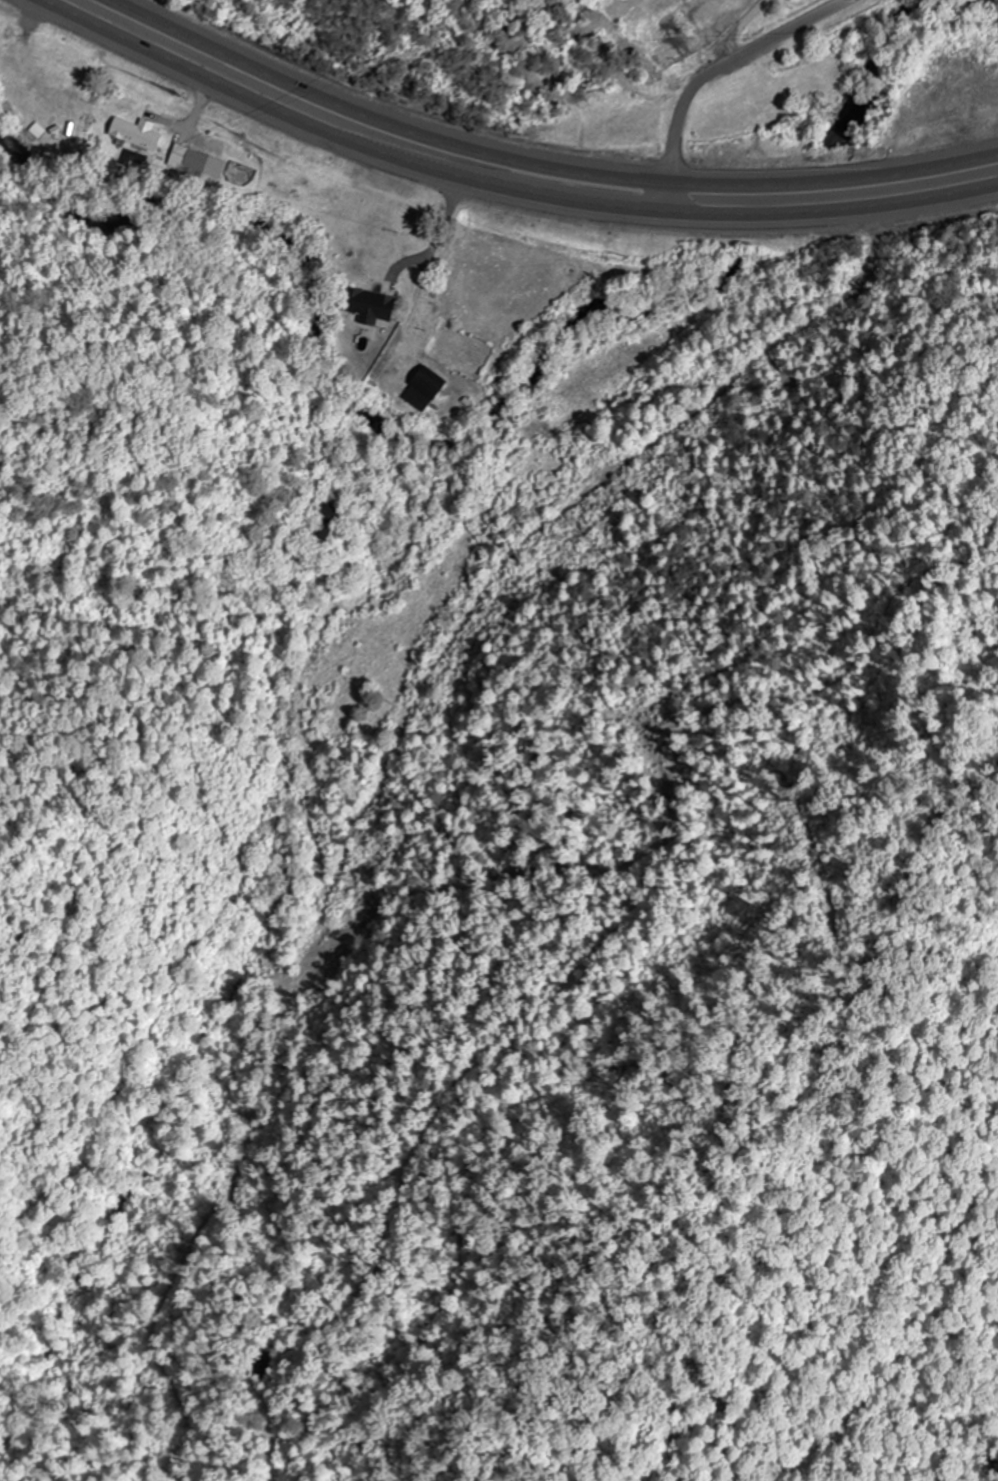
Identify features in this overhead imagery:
road: (727, 64)
building: (136, 134)
building: (190, 159)
road: (544, 163)
road: (498, 188)
road: (671, 197)
building: (369, 306)
building: (424, 389)
building: (328, 513)

